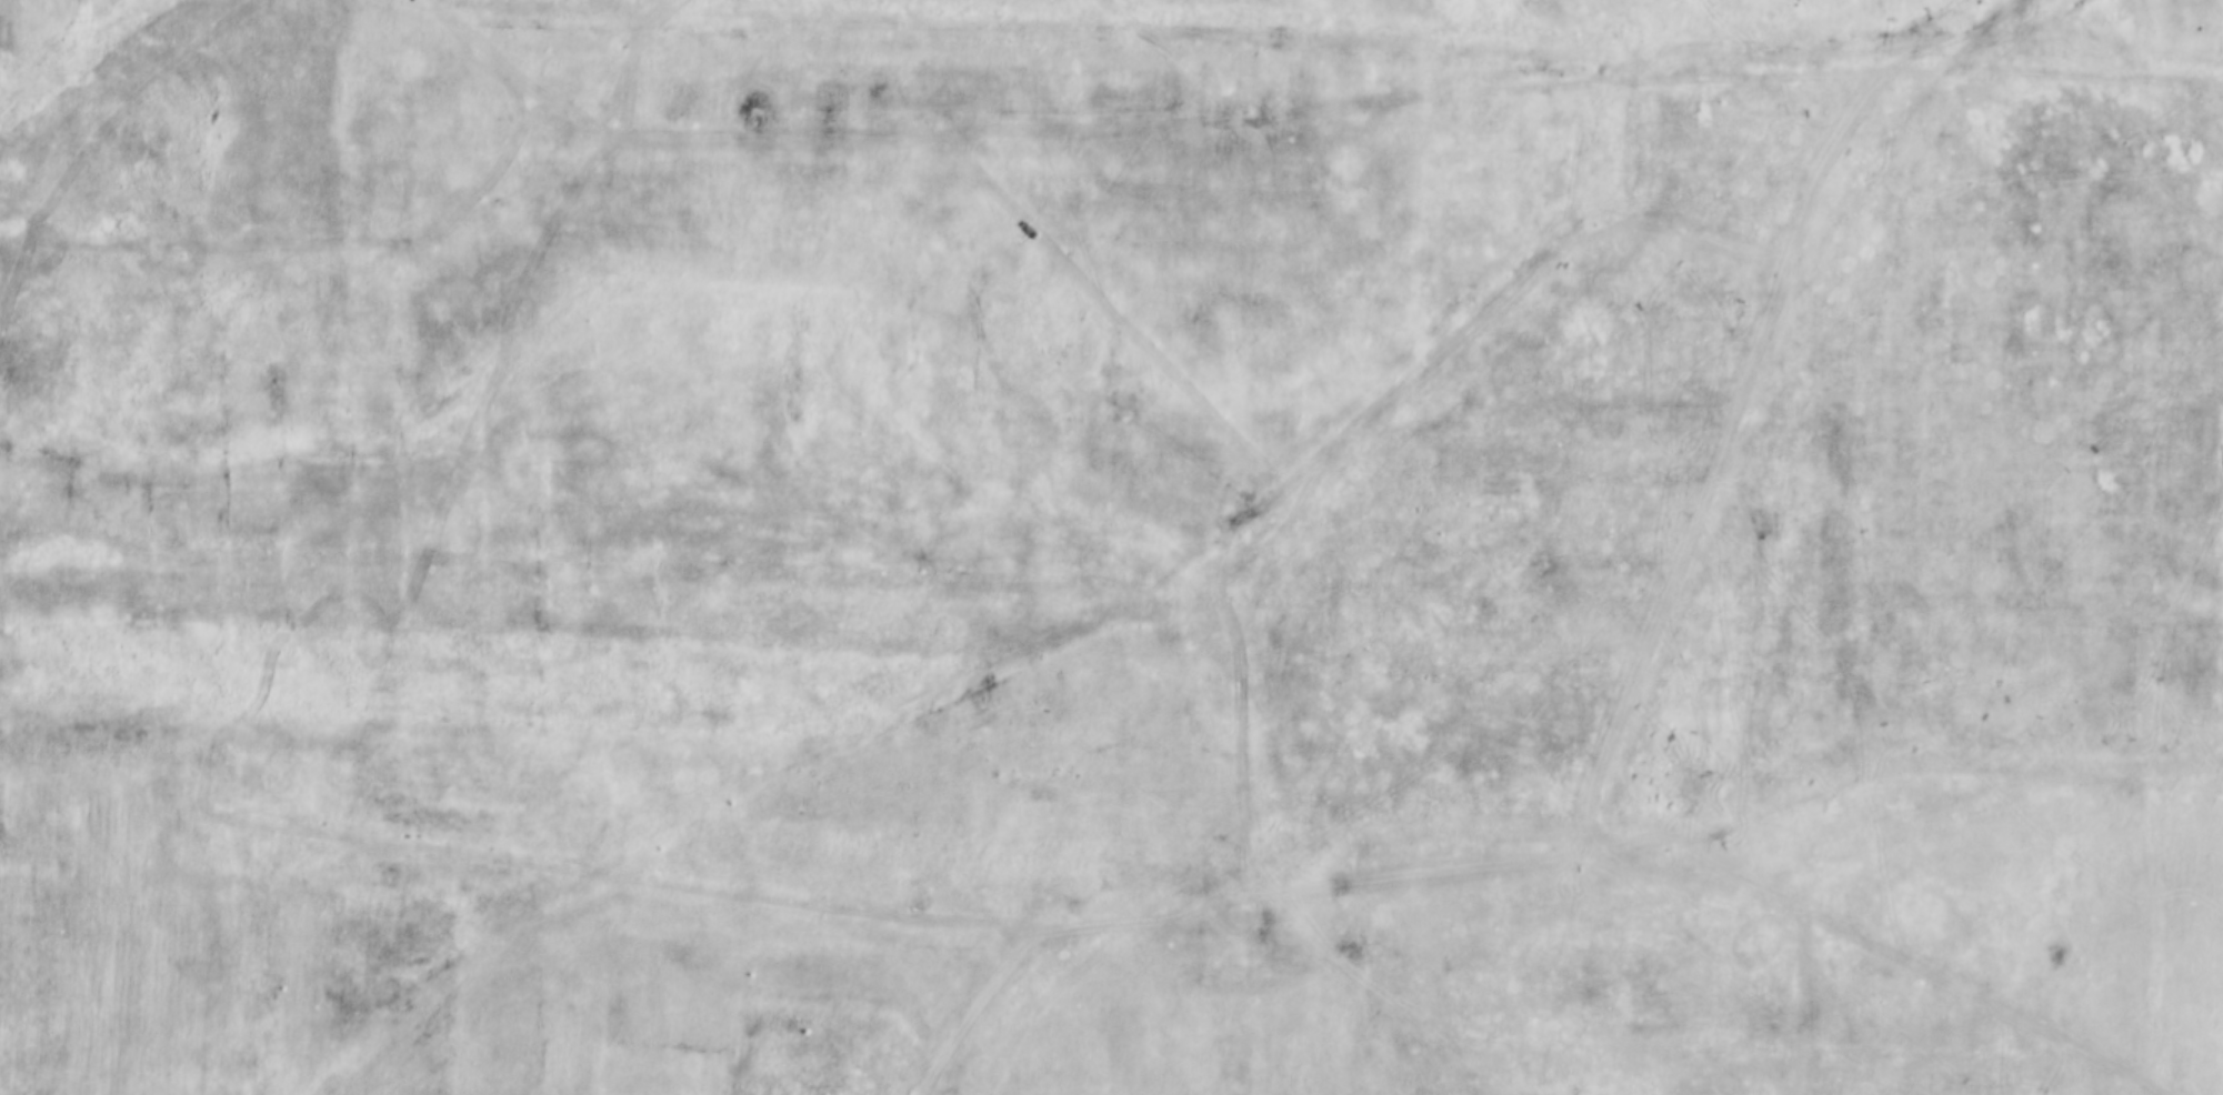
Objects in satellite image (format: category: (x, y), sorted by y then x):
road: (1952, 545)

